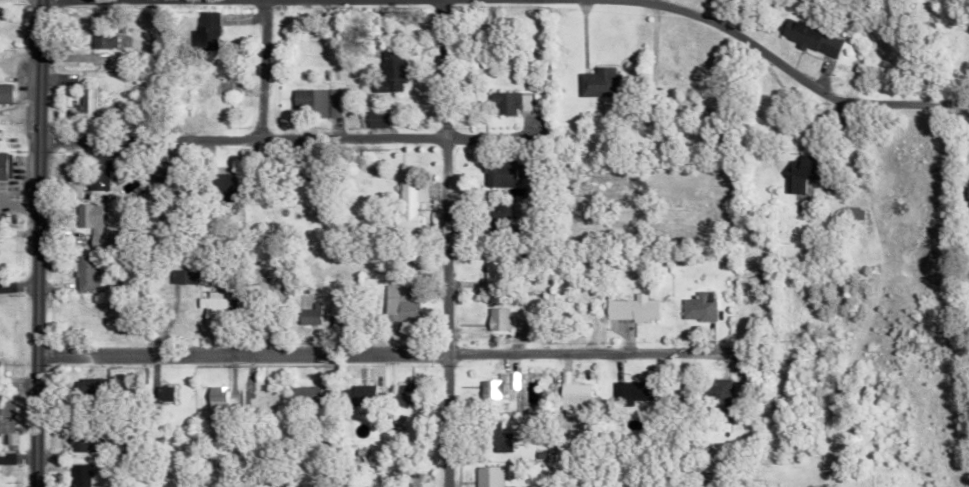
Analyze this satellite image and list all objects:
road: (640, 0)
building: (201, 32)
building: (100, 39)
building: (809, 39)
road: (254, 69)
building: (392, 72)
road: (794, 76)
building: (595, 83)
building: (3, 94)
building: (318, 101)
building: (533, 102)
building: (85, 103)
building: (501, 103)
building: (375, 119)
road: (283, 137)
building: (4, 166)
building: (97, 172)
building: (496, 174)
building: (799, 174)
building: (158, 177)
building: (225, 185)
building: (968, 197)
building: (407, 202)
building: (853, 213)
building: (86, 217)
building: (494, 217)
building: (102, 242)
road: (32, 243)
road: (438, 243)
building: (489, 267)
building: (85, 274)
building: (182, 277)
road: (16, 284)
building: (396, 304)
building: (212, 306)
building: (696, 306)
building: (630, 308)
building: (310, 315)
building: (494, 318)
building: (520, 329)
road: (379, 352)
building: (495, 386)
building: (630, 391)
building: (163, 393)
building: (361, 393)
building: (404, 394)
building: (718, 394)
building: (571, 397)
building: (262, 399)
building: (217, 401)
building: (387, 410)
building: (6, 421)
building: (496, 439)
building: (80, 443)
road: (15, 456)
building: (79, 475)
building: (486, 476)
building: (394, 478)

